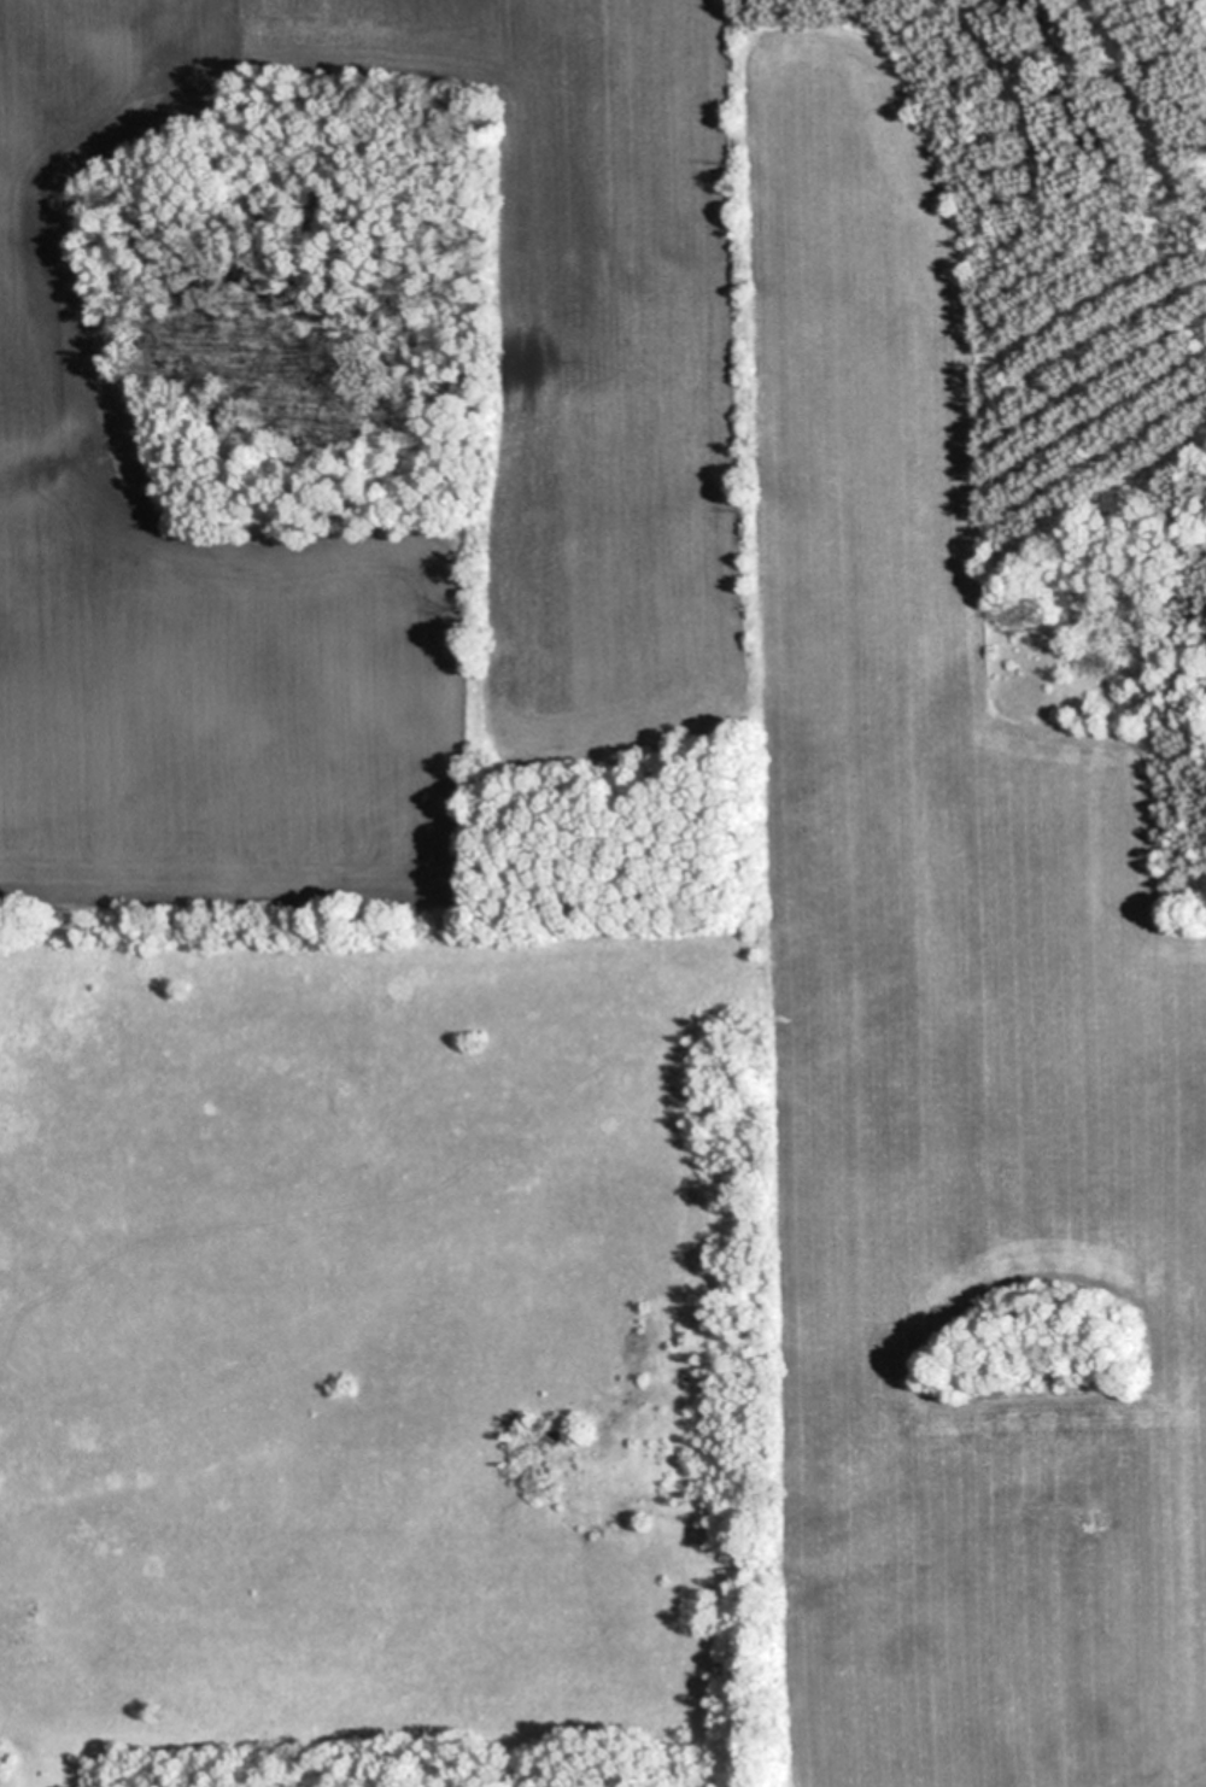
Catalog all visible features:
quarry: (983, 874)

